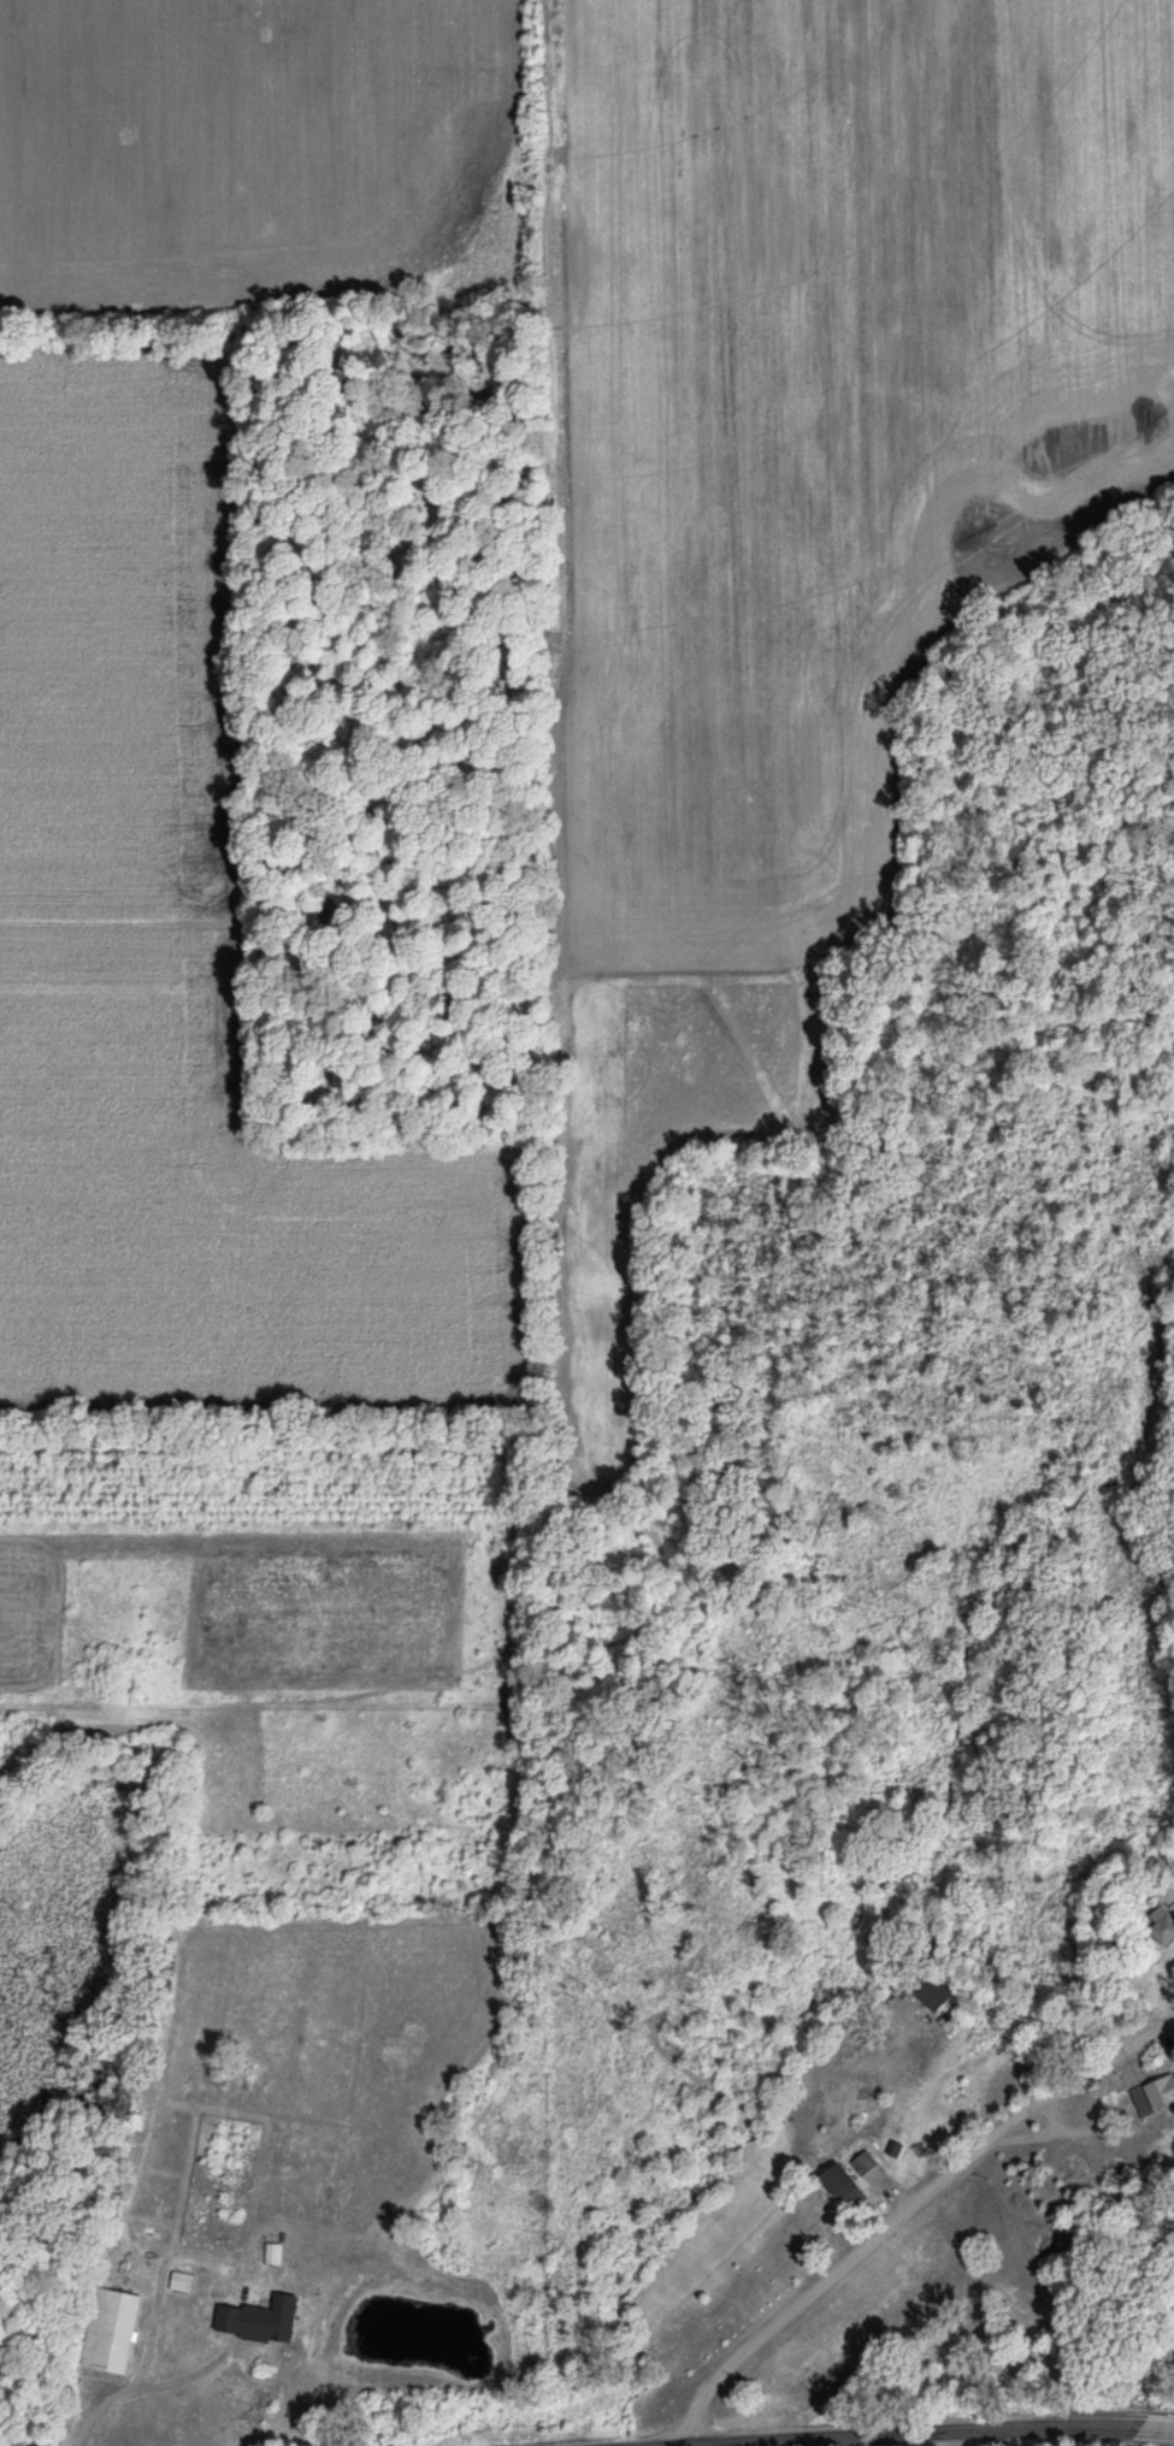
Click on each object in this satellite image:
building: (939, 1990)
road: (1169, 2017)
building: (1166, 2088)
building: (859, 2175)
road: (904, 2216)
building: (281, 2251)
building: (293, 2308)
building: (120, 2327)
building: (262, 2347)
road: (167, 2386)
road: (1015, 2440)

